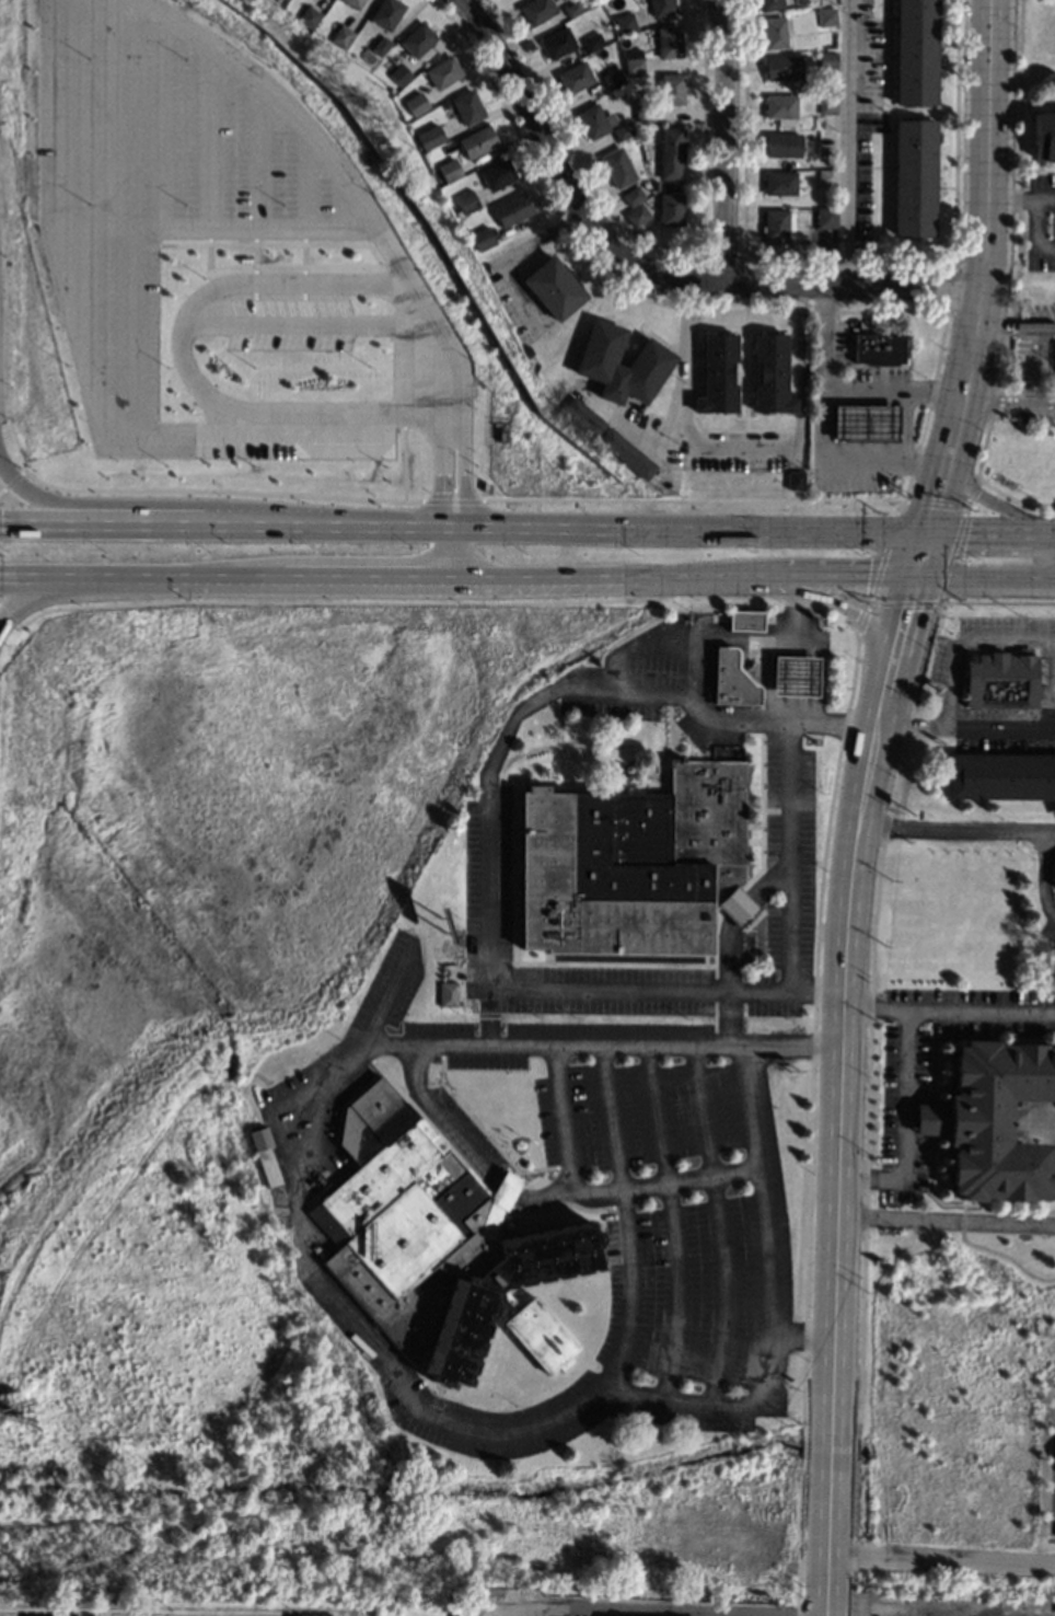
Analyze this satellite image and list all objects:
building: (355, 3)
building: (770, 3)
building: (662, 7)
building: (572, 8)
building: (536, 10)
road: (987, 11)
building: (386, 12)
building: (310, 16)
building: (826, 16)
building: (624, 22)
building: (774, 32)
building: (343, 36)
building: (418, 38)
building: (592, 41)
building: (669, 42)
building: (557, 43)
building: (381, 45)
building: (915, 53)
building: (827, 59)
building: (633, 60)
building: (784, 68)
building: (443, 71)
building: (399, 73)
building: (575, 77)
building: (613, 79)
building: (671, 89)
building: (416, 103)
building: (826, 103)
building: (467, 106)
building: (781, 107)
building: (645, 109)
road: (112, 114)
road: (164, 120)
building: (595, 120)
road: (299, 123)
road: (954, 129)
building: (623, 130)
building: (1043, 135)
road: (215, 139)
building: (430, 140)
building: (478, 141)
road: (723, 142)
building: (826, 142)
building: (782, 143)
road: (845, 143)
building: (671, 152)
road: (262, 157)
building: (618, 166)
building: (450, 170)
building: (497, 174)
building: (826, 176)
building: (914, 176)
road: (310, 182)
building: (779, 182)
building: (656, 186)
building: (633, 195)
building: (467, 201)
road: (1009, 205)
road: (1044, 205)
parking lot: (172, 206)
building: (513, 209)
building: (671, 209)
road: (984, 212)
building: (637, 215)
building: (825, 217)
building: (777, 223)
road: (219, 228)
building: (483, 236)
road: (1033, 238)
road: (958, 259)
road: (650, 267)
building: (554, 287)
road: (207, 291)
road: (744, 297)
road: (74, 308)
road: (689, 310)
road: (305, 321)
road: (1015, 322)
parking lot: (278, 323)
road: (132, 328)
road: (743, 331)
road: (444, 346)
building: (879, 347)
building: (652, 358)
road: (1043, 362)
building: (718, 372)
building: (770, 373)
road: (743, 389)
road: (890, 389)
road: (1005, 401)
road: (673, 405)
road: (363, 416)
building: (583, 416)
road: (950, 419)
building: (865, 423)
road: (822, 429)
road: (770, 448)
building: (627, 451)
road: (941, 454)
road: (460, 472)
road: (444, 473)
building: (795, 478)
road: (987, 498)
road: (929, 501)
road: (71, 506)
road: (77, 523)
road: (248, 526)
road: (397, 529)
road: (686, 531)
traffic signals: (921, 533)
road: (987, 534)
road: (451, 553)
road: (916, 554)
road: (1040, 556)
road: (604, 576)
road: (834, 576)
traffic signals: (912, 576)
road: (983, 576)
road: (73, 577)
road: (366, 577)
road: (213, 578)
road: (67, 588)
road: (833, 602)
road: (902, 616)
building: (744, 620)
road: (961, 636)
building: (793, 676)
gas station: (793, 676)
road: (1054, 678)
building: (731, 679)
building: (1000, 679)
road: (1052, 682)
parking lot: (1046, 684)
road: (883, 690)
road: (964, 725)
building: (1000, 775)
parking lot: (788, 797)
road: (954, 828)
road: (787, 842)
road: (487, 851)
building: (634, 864)
road: (1044, 874)
parking lot: (485, 884)
building: (1054, 884)
building: (1054, 887)
parking lot: (1053, 911)
road: (729, 940)
building: (447, 994)
road: (383, 996)
road: (982, 1012)
road: (906, 1095)
road: (308, 1101)
parking lot: (893, 1116)
building: (998, 1120)
road: (467, 1153)
building: (265, 1155)
road: (837, 1168)
road: (592, 1192)
parking lot: (688, 1193)
road: (625, 1215)
road: (946, 1220)
road: (671, 1223)
road: (717, 1225)
building: (437, 1242)
road: (768, 1298)
road: (800, 1334)
parking lot: (1052, 1477)
road: (940, 1560)
parking lot: (566, 1614)
road: (658, 1614)
parking lot: (726, 1615)

